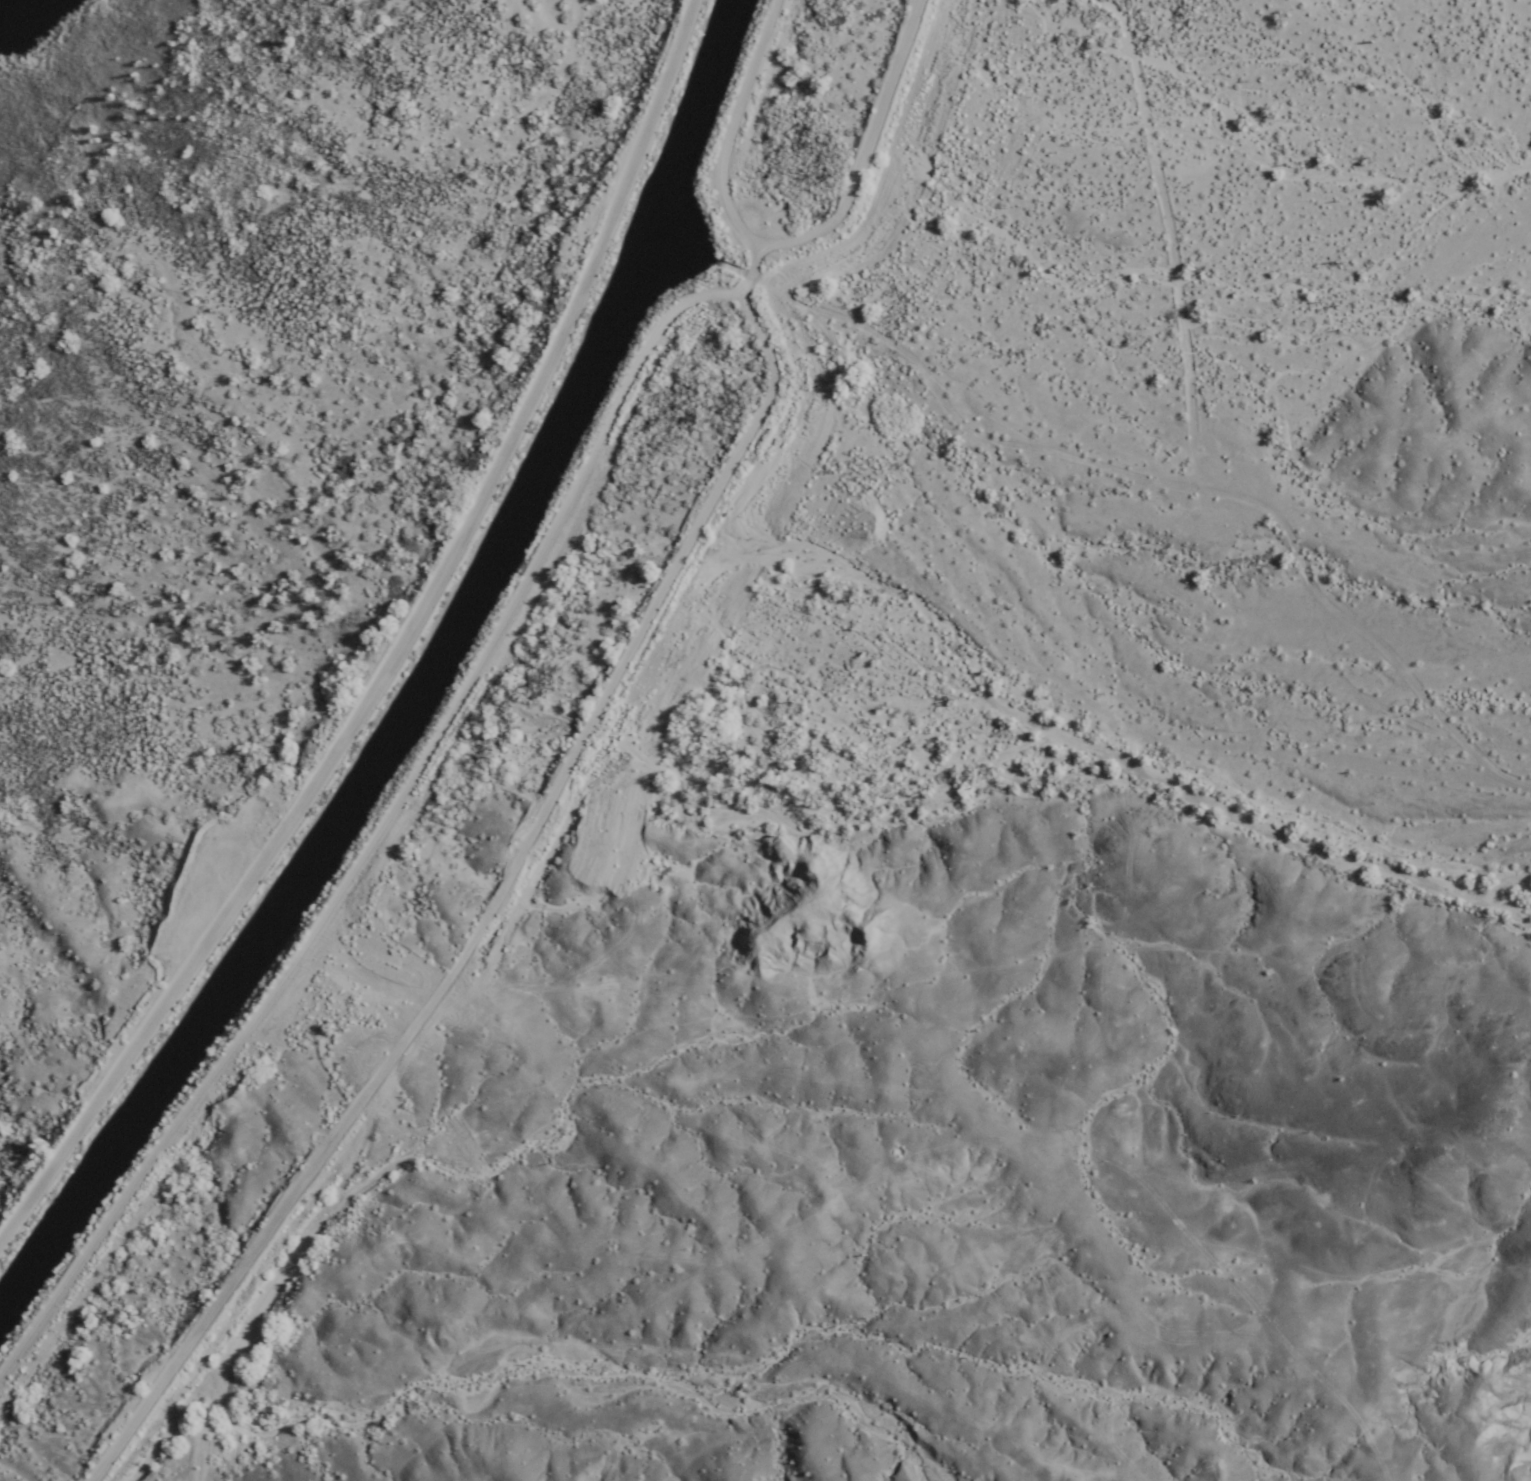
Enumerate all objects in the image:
road: (399, 651)
river: (427, 688)

